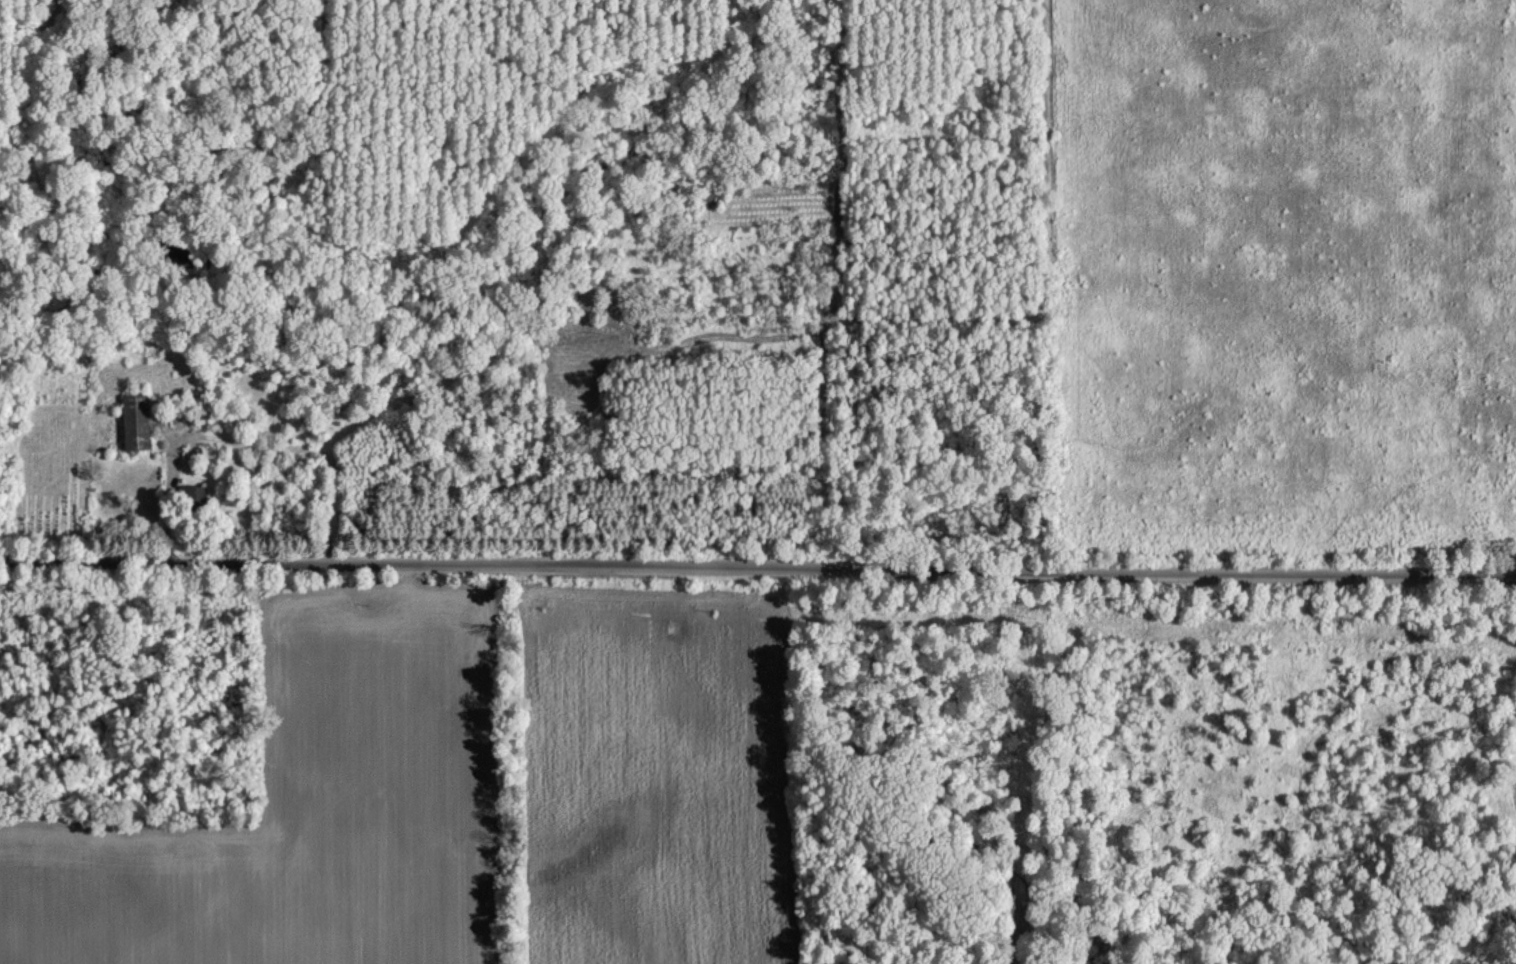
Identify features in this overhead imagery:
building: (192, 412)
building: (133, 421)
road: (244, 448)
road: (757, 570)

